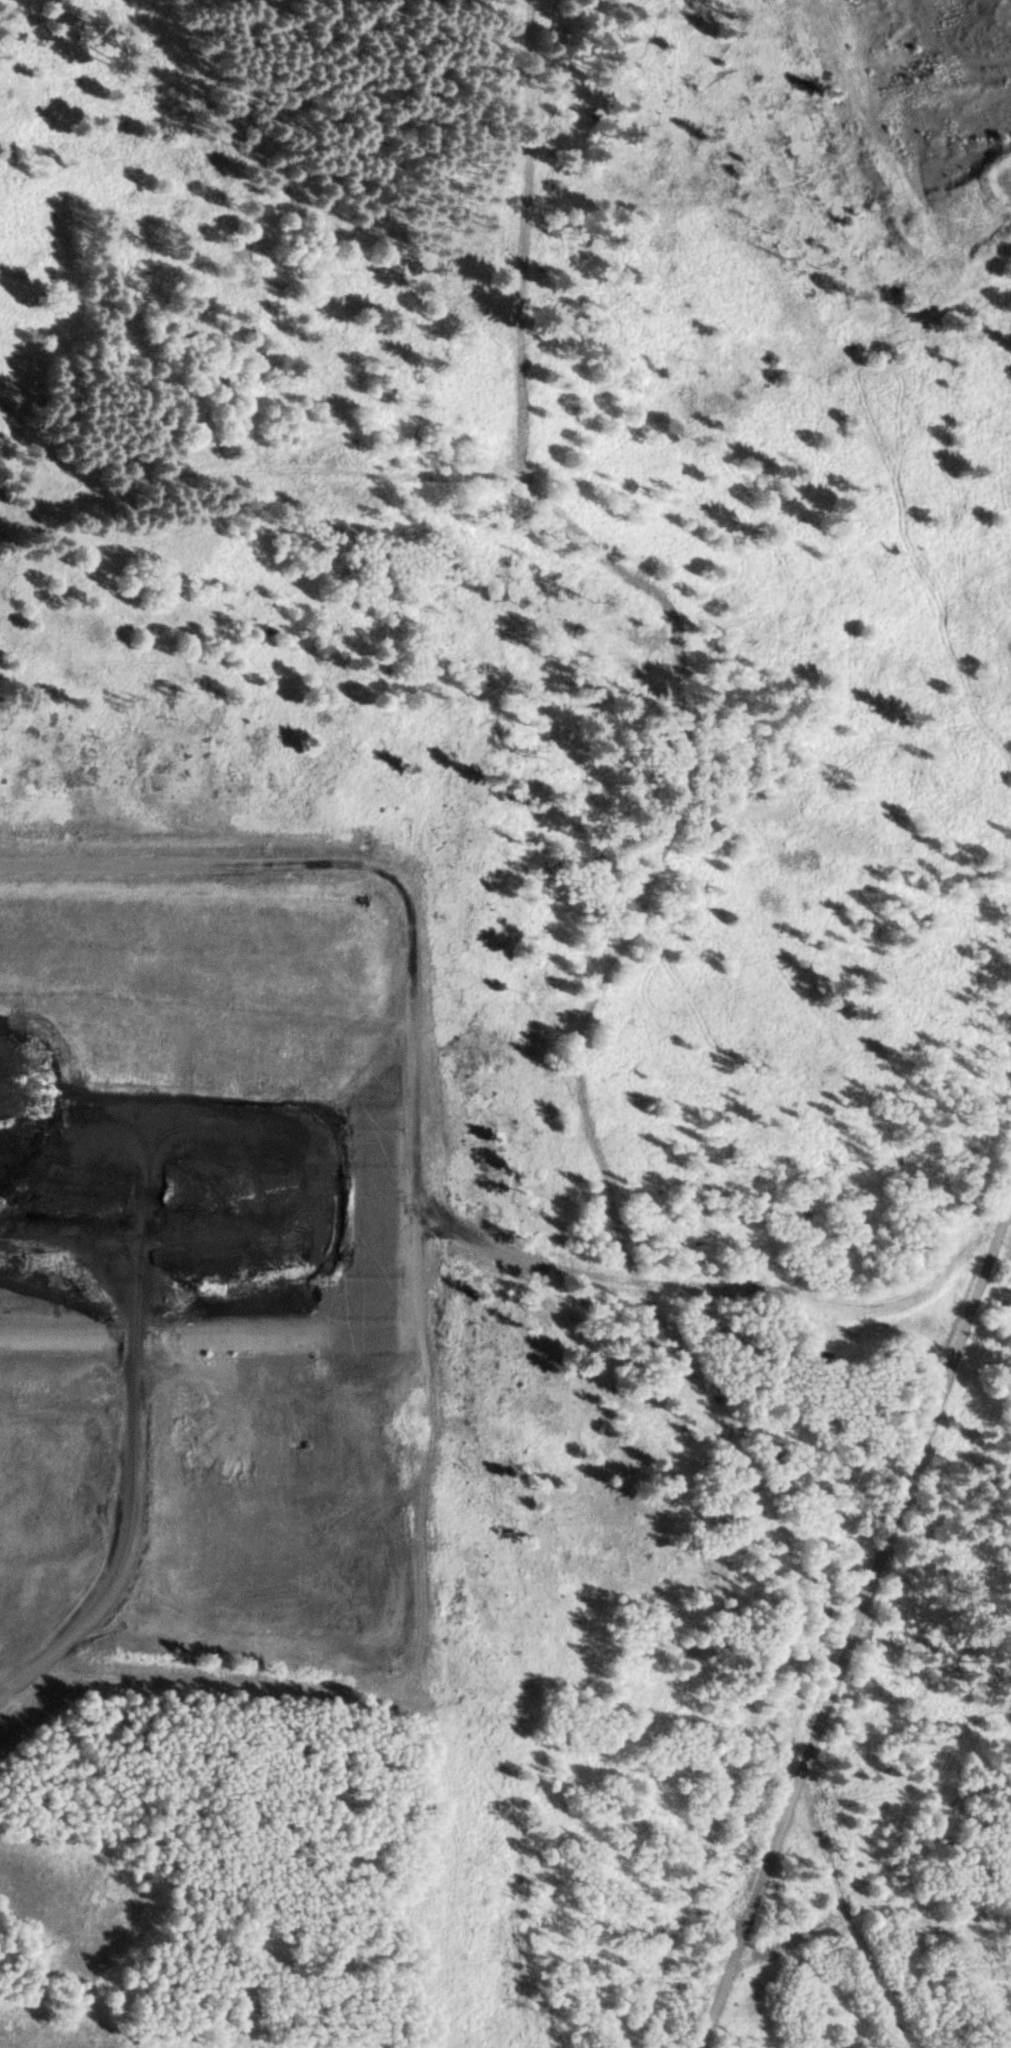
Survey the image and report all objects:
road: (204, 863)
road: (858, 1633)

